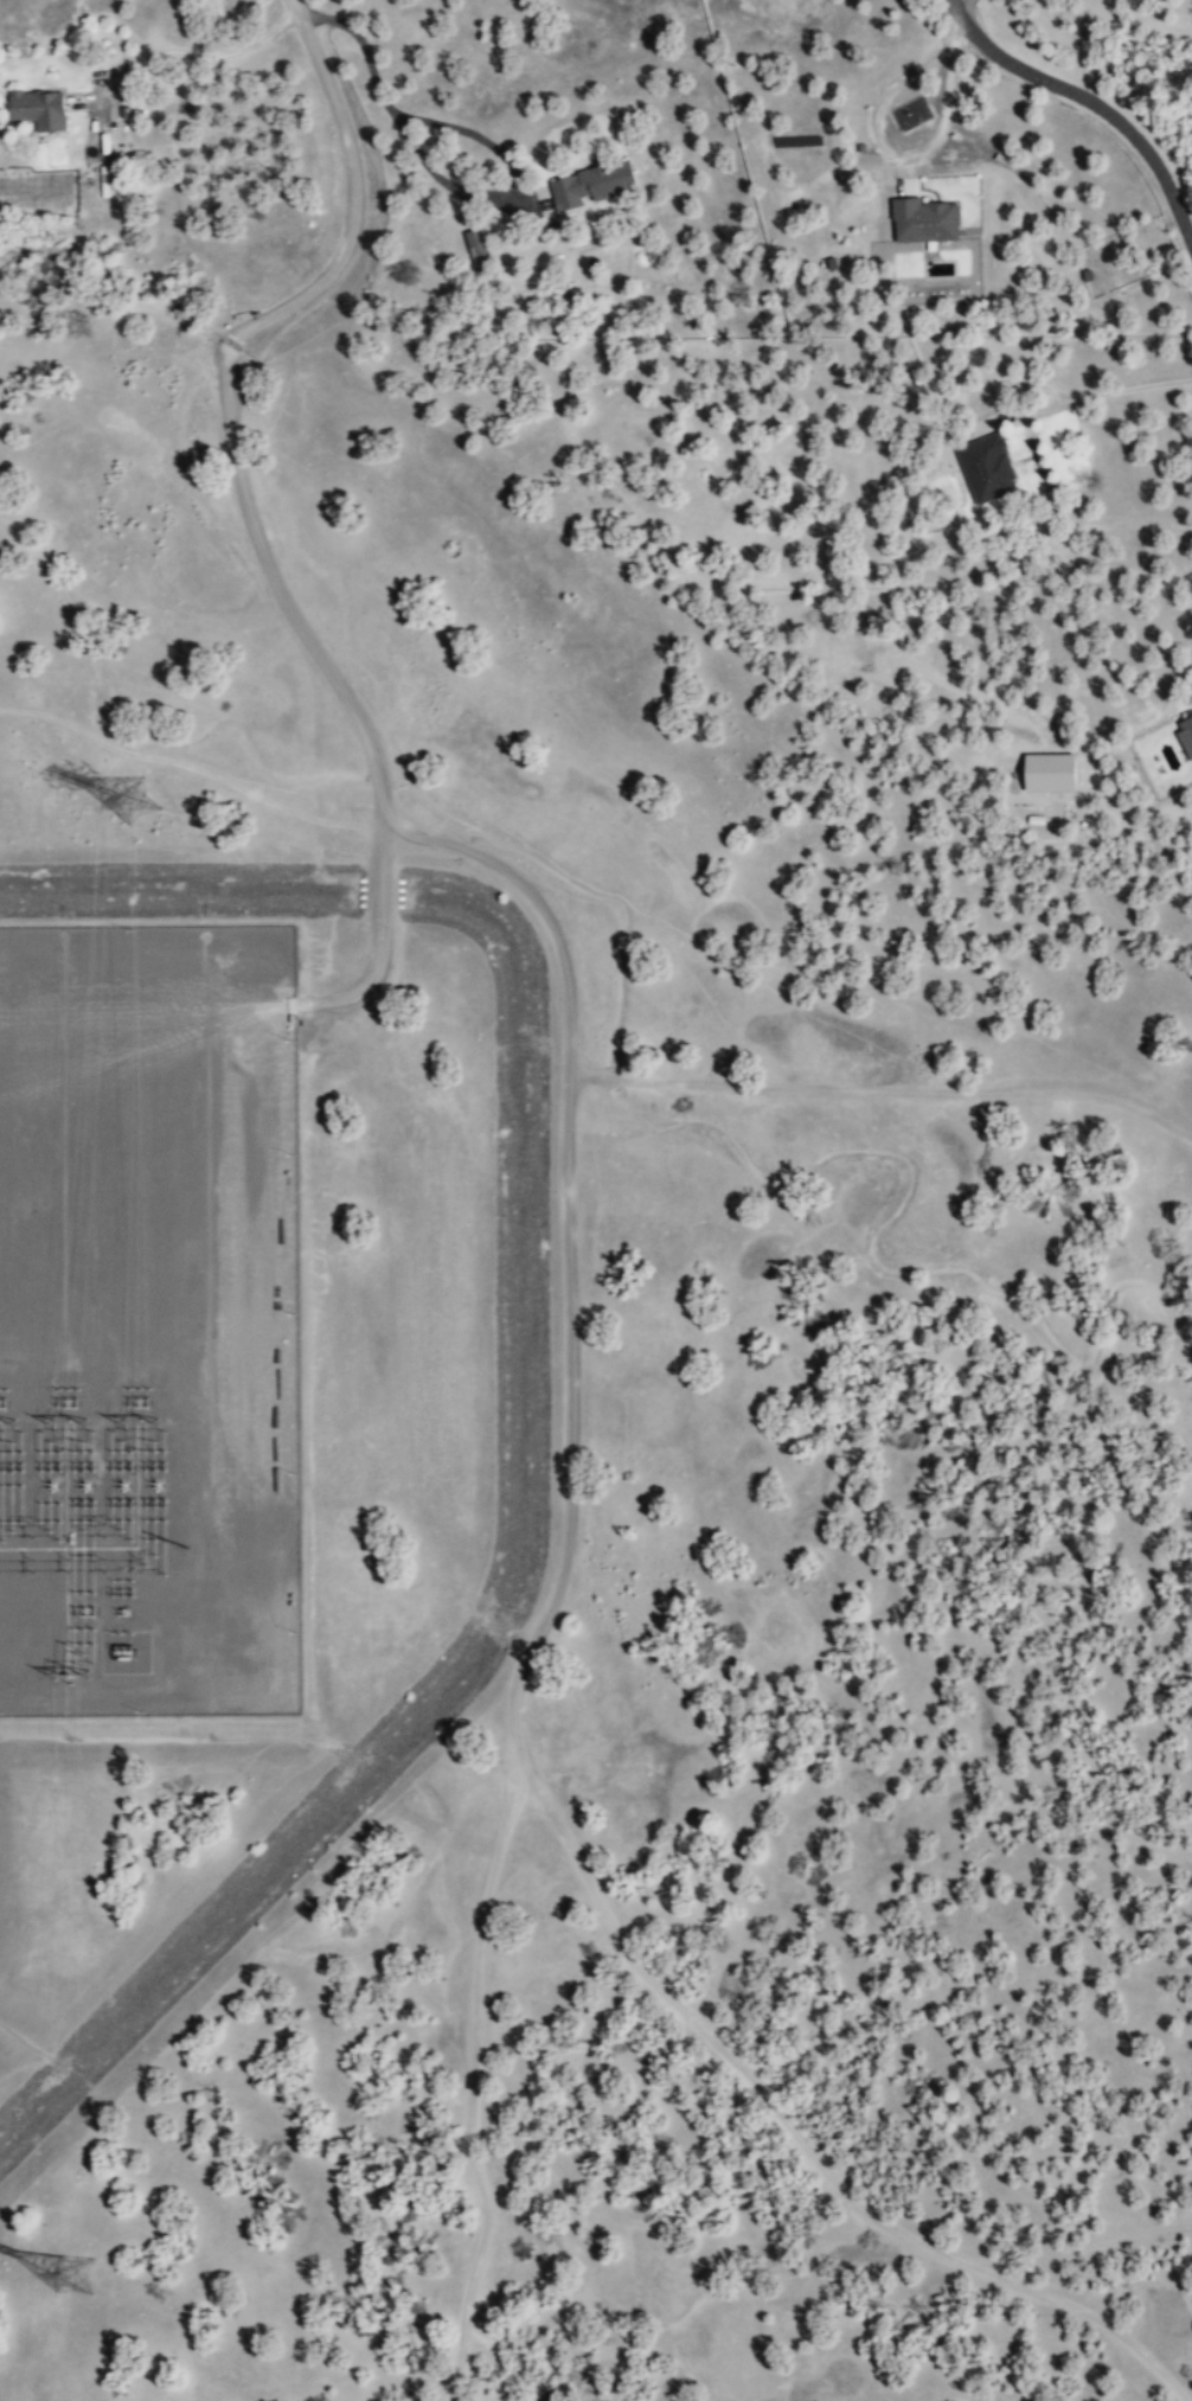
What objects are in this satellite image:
road: (200, 52)
road: (1091, 98)
building: (34, 107)
road: (474, 134)
road: (357, 177)
building: (588, 184)
building: (921, 219)
building: (474, 244)
road: (1034, 447)
building: (985, 468)
building: (1184, 734)
building: (1044, 771)
power tower: (154, 806)
power substation: (155, 1327)
road: (475, 2074)
road: (818, 2163)
power tower: (95, 2268)

